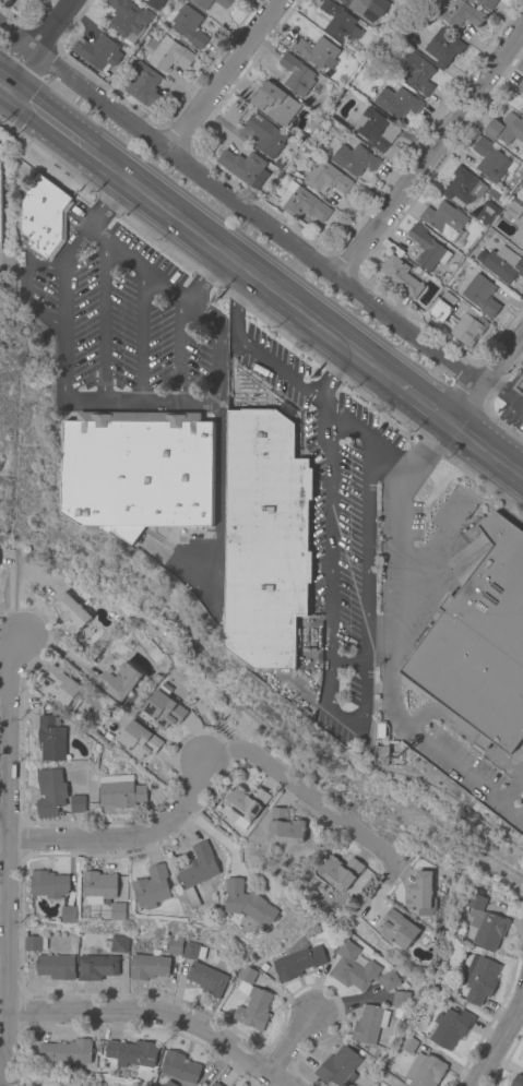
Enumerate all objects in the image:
building: (188, 0)
building: (202, 3)
building: (223, 3)
building: (487, 3)
building: (155, 4)
building: (366, 5)
building: (460, 14)
building: (369, 16)
building: (128, 19)
building: (340, 22)
road: (50, 25)
building: (189, 26)
road: (15, 39)
building: (444, 50)
building: (98, 52)
building: (317, 52)
building: (168, 53)
road: (17, 69)
building: (417, 72)
road: (221, 74)
building: (296, 75)
road: (175, 83)
road: (1, 85)
building: (144, 86)
building: (520, 86)
traffic signals: (3, 87)
building: (273, 103)
building: (395, 103)
road: (26, 107)
building: (521, 109)
building: (312, 122)
building: (506, 129)
building: (376, 130)
building: (266, 136)
road: (428, 151)
building: (354, 159)
building: (491, 160)
building: (245, 167)
building: (325, 178)
building: (461, 186)
road: (105, 202)
building: (301, 203)
building: (513, 210)
building: (485, 212)
building: (45, 217)
road: (255, 217)
building: (0, 220)
building: (445, 222)
road: (199, 235)
building: (519, 236)
building: (427, 249)
road: (138, 262)
building: (502, 264)
road: (204, 275)
building: (400, 276)
road: (25, 283)
building: (479, 295)
road: (238, 301)
building: (471, 319)
road: (104, 320)
parking lot: (126, 321)
road: (141, 334)
road: (178, 349)
road: (274, 367)
road: (332, 372)
road: (487, 375)
road: (513, 378)
building: (519, 385)
road: (499, 387)
road: (111, 401)
road: (518, 401)
road: (424, 403)
parking lot: (508, 415)
road: (340, 417)
road: (486, 450)
road: (387, 454)
road: (421, 456)
building: (138, 470)
road: (522, 474)
parking lot: (452, 509)
road: (453, 512)
parking lot: (414, 520)
parking lot: (333, 521)
building: (265, 538)
road: (421, 559)
road: (13, 600)
building: (71, 613)
building: (480, 644)
road: (346, 660)
road: (389, 671)
building: (119, 681)
building: (61, 689)
building: (164, 708)
road: (344, 717)
road: (464, 730)
building: (51, 738)
building: (138, 738)
building: (382, 755)
parking lot: (463, 755)
road: (512, 787)
building: (120, 791)
building: (50, 792)
road: (301, 792)
parking lot: (512, 798)
building: (76, 804)
building: (246, 804)
road: (512, 809)
building: (285, 827)
road: (126, 839)
road: (7, 858)
building: (199, 871)
building: (340, 872)
building: (49, 884)
building: (99, 886)
building: (152, 887)
building: (420, 895)
building: (249, 903)
building: (118, 911)
building: (69, 914)
building: (485, 922)
building: (397, 930)
building: (34, 943)
building: (118, 943)
building: (174, 945)
building: (193, 952)
building: (297, 960)
building: (55, 967)
building: (96, 967)
building: (148, 967)
building: (263, 967)
building: (358, 969)
building: (246, 975)
building: (206, 979)
building: (479, 979)
building: (400, 1000)
building: (252, 1007)
road: (145, 1015)
building: (369, 1024)
building: (450, 1028)
road: (500, 1041)
building: (407, 1043)
road: (289, 1046)
building: (67, 1053)
building: (132, 1053)
building: (338, 1067)
building: (180, 1069)
building: (424, 1071)
road: (276, 1081)
building: (516, 1081)
building: (168, 1084)
building: (216, 1085)

